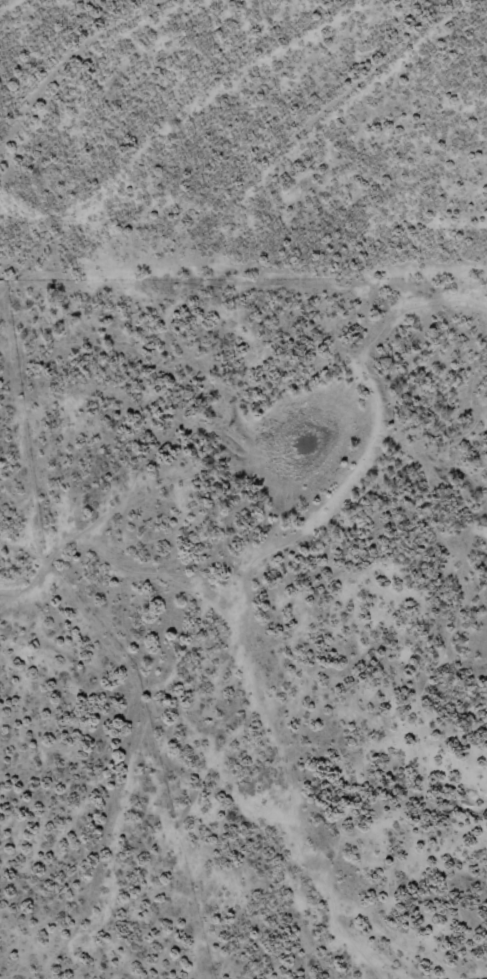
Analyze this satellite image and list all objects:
road: (29, 588)

